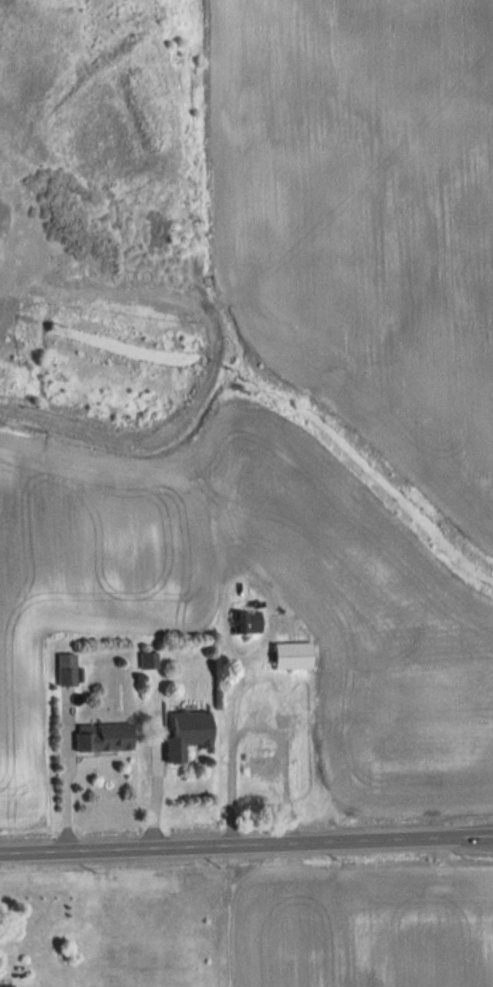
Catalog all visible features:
crop: (365, 222)
crop: (2, 226)
road: (167, 427)
crop: (109, 608)
building: (244, 623)
building: (290, 656)
building: (147, 661)
building: (65, 670)
building: (285, 723)
building: (186, 735)
building: (102, 738)
building: (263, 762)
road: (59, 774)
road: (246, 845)
crop: (363, 927)
building: (5, 986)

